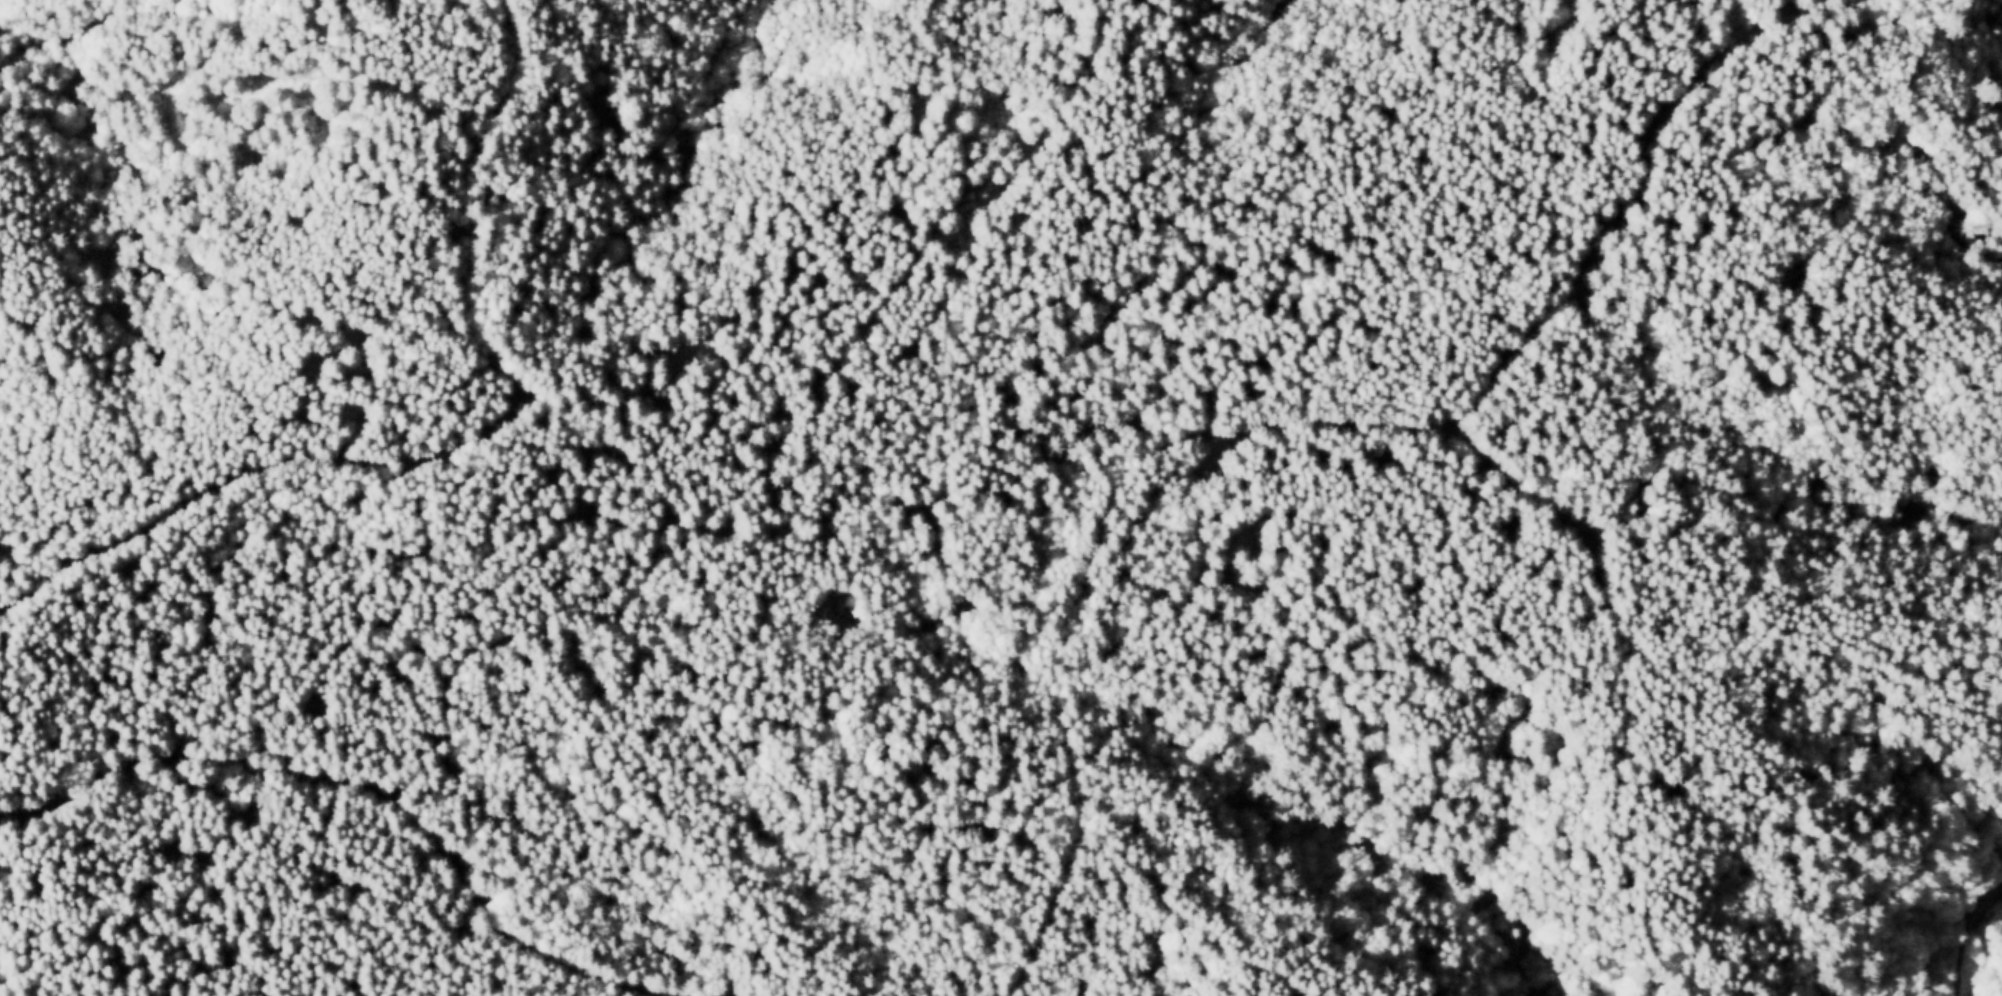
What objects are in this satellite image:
road: (1295, 418)
road: (453, 435)
road: (775, 482)
road: (1597, 557)
road: (370, 784)
road: (1964, 933)

